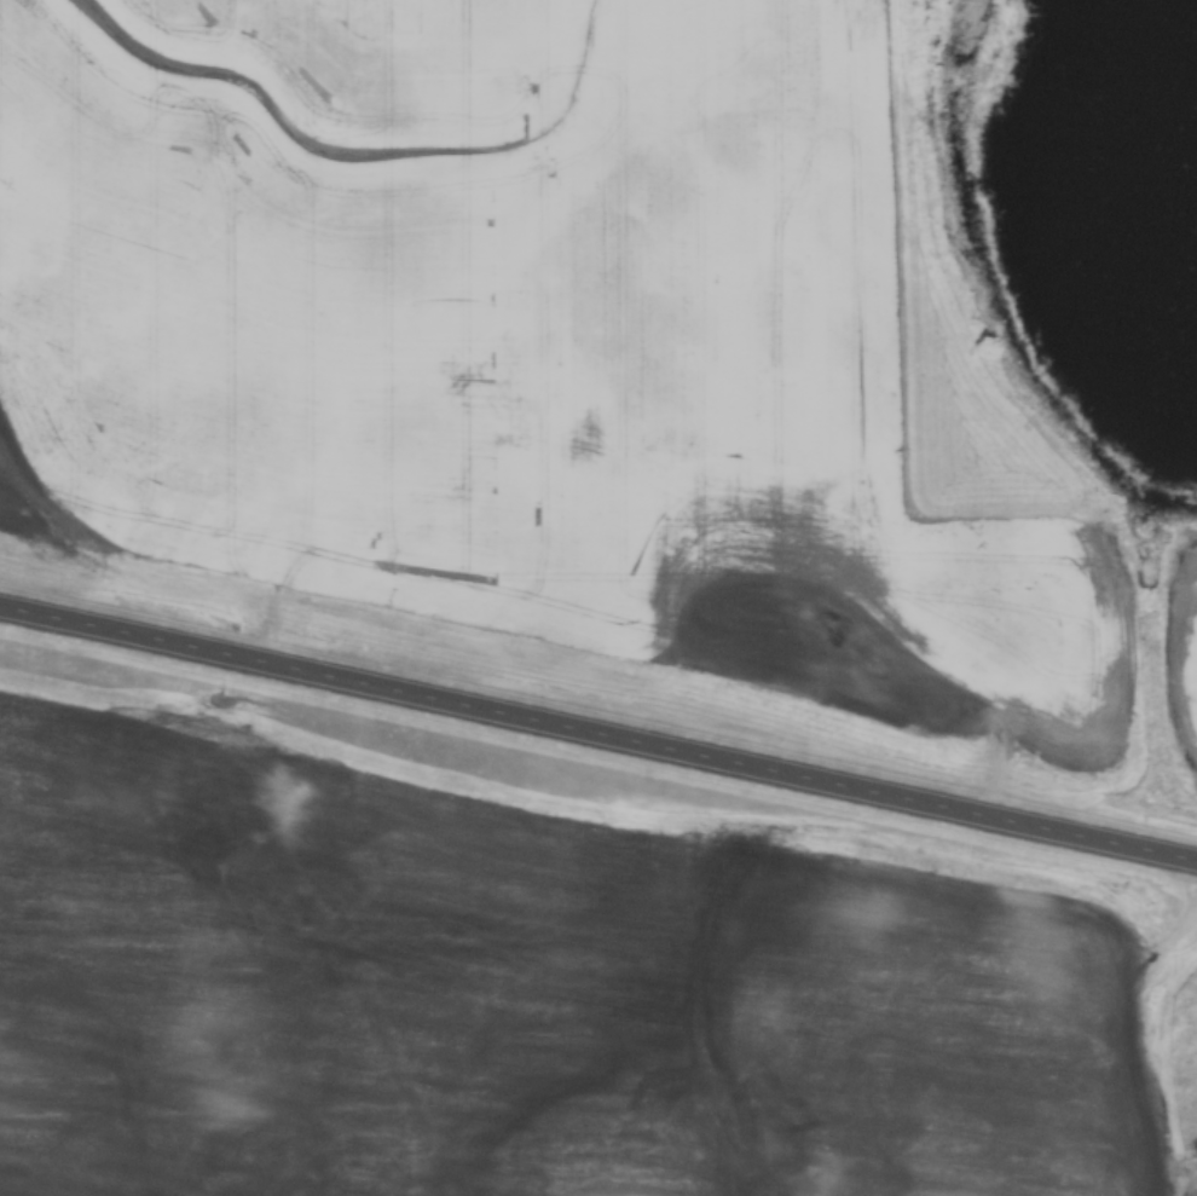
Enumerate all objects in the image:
road: (598, 736)

